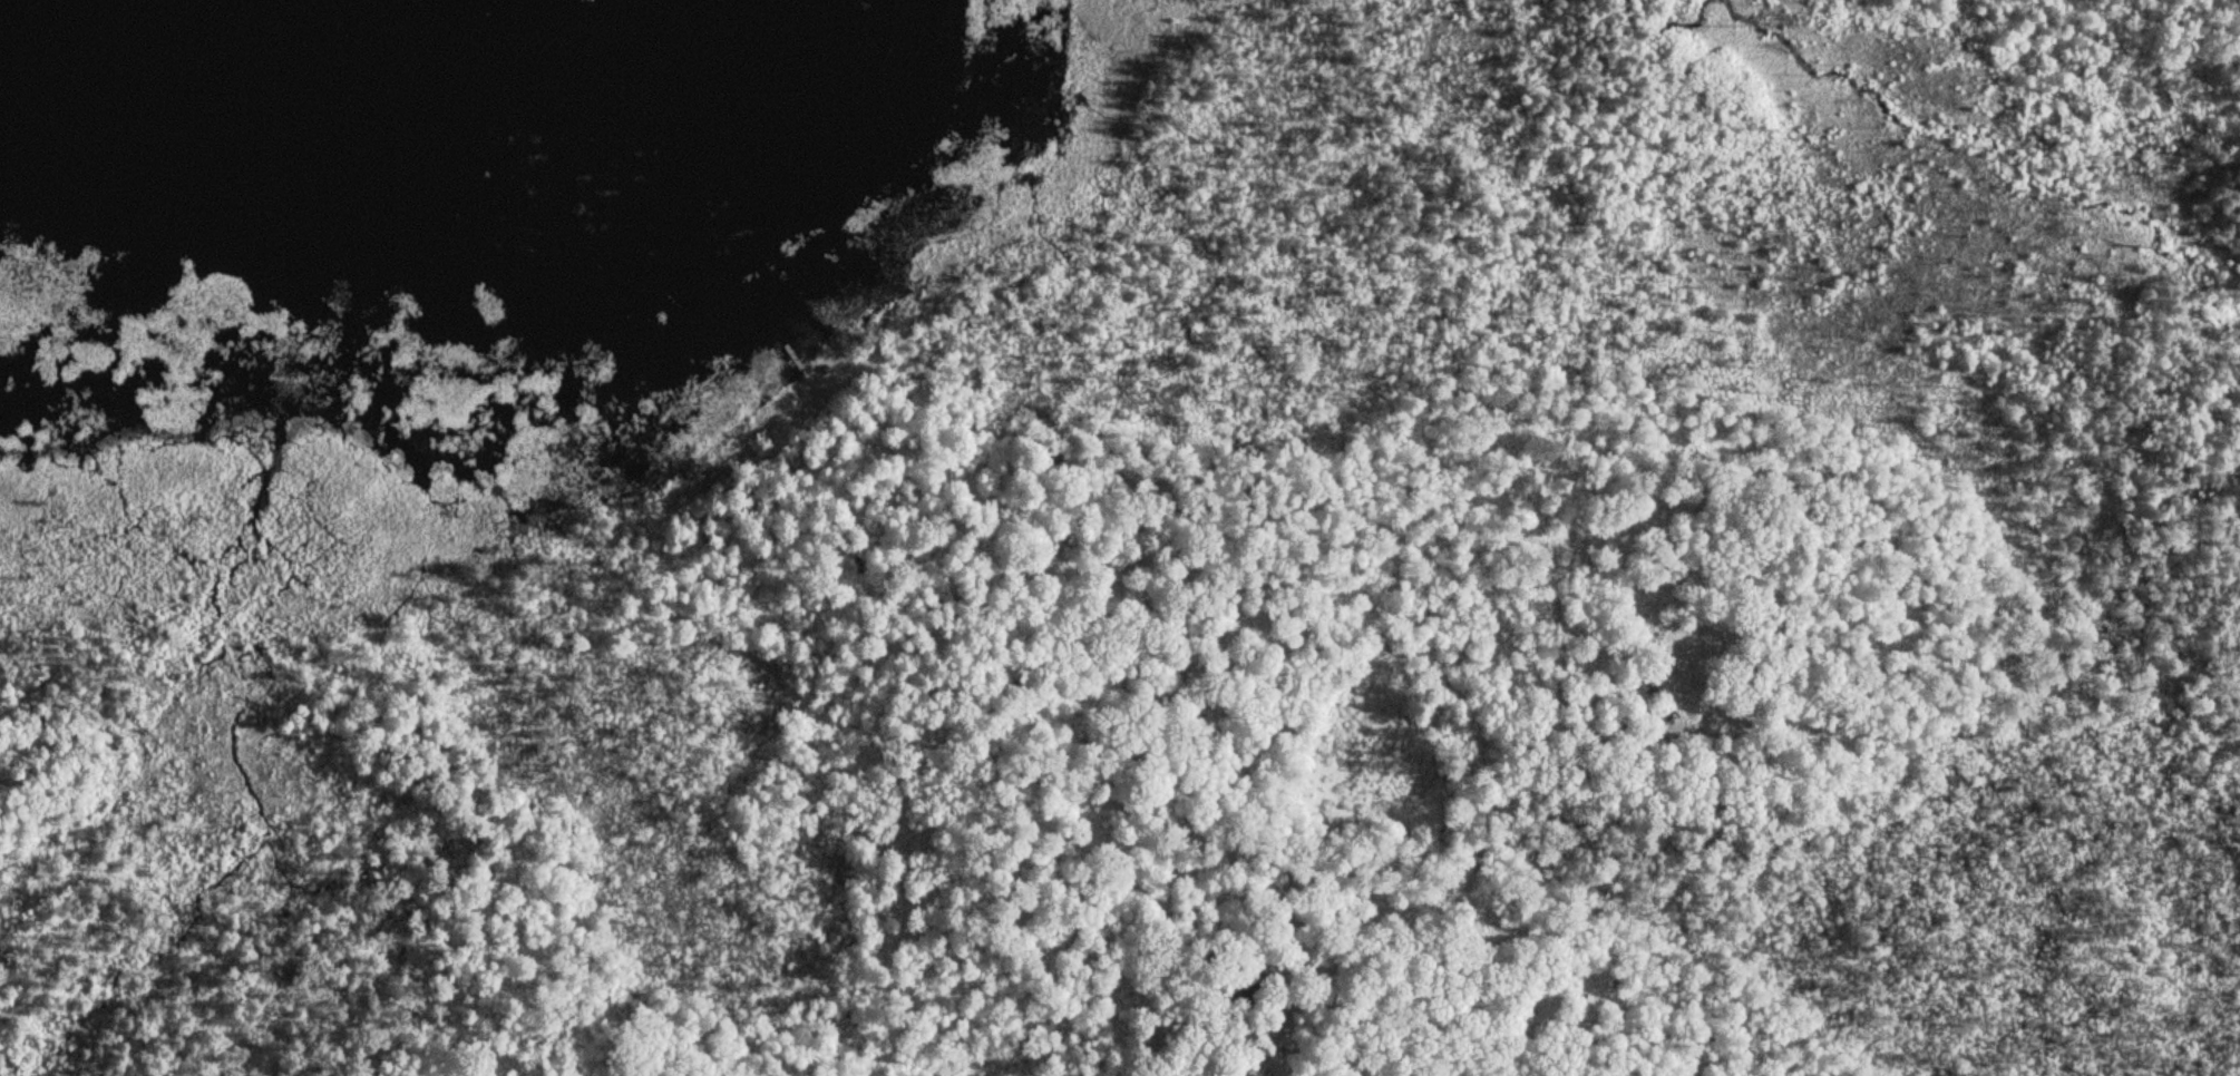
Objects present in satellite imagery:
road: (1285, 1037)

